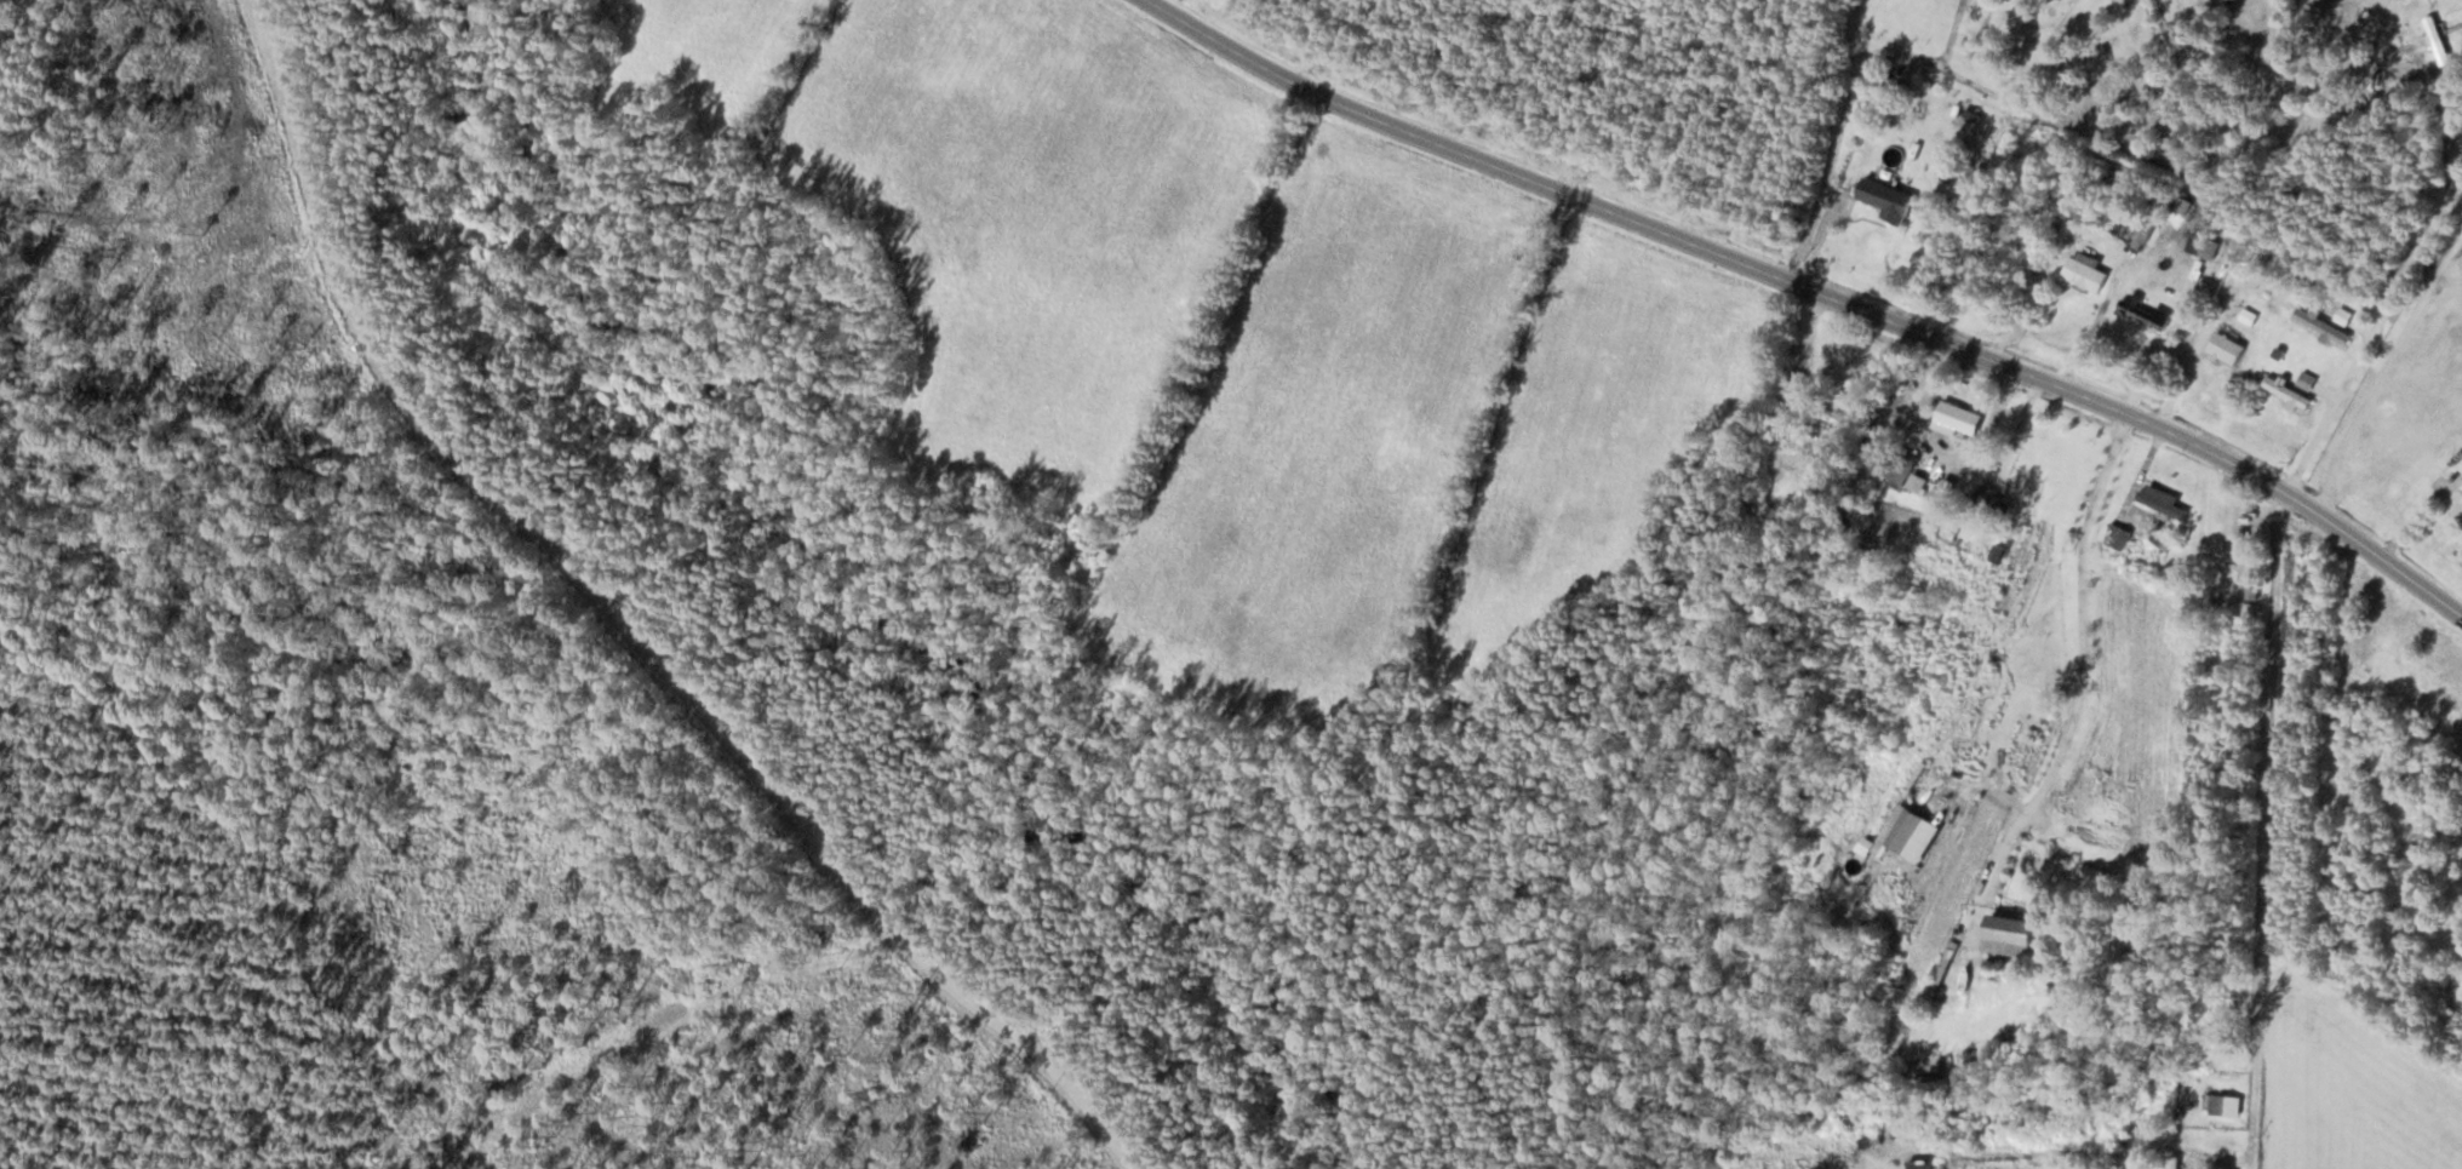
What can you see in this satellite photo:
building: (2432, 1)
road: (1953, 31)
building: (2437, 39)
road: (1993, 50)
road: (2028, 110)
building: (1970, 113)
road: (1461, 151)
building: (1885, 196)
road: (2452, 200)
crop: (996, 204)
road: (1855, 218)
road: (2433, 222)
building: (2138, 230)
road: (2095, 234)
road: (1817, 239)
building: (2200, 246)
building: (2084, 270)
building: (2238, 310)
building: (2145, 313)
road: (2175, 315)
building: (2342, 315)
building: (2320, 325)
road: (2363, 328)
road: (2044, 338)
building: (2225, 344)
building: (2277, 351)
road: (2189, 360)
road: (2383, 371)
road: (1796, 374)
building: (2306, 380)
building: (2286, 391)
road: (2326, 391)
road: (2334, 405)
building: (1958, 416)
road: (2136, 418)
road: (2397, 423)
crop: (1402, 428)
building: (1900, 465)
building: (2163, 499)
building: (2117, 535)
building: (2244, 560)
crop: (1973, 563)
road: (630, 620)
road: (2080, 660)
road: (1977, 783)
building: (1903, 829)
road: (2265, 829)
building: (2009, 934)
building: (2221, 1102)
road: (2066, 1150)
building: (2171, 1162)
crop: (2000, 1163)
building: (1919, 1164)

